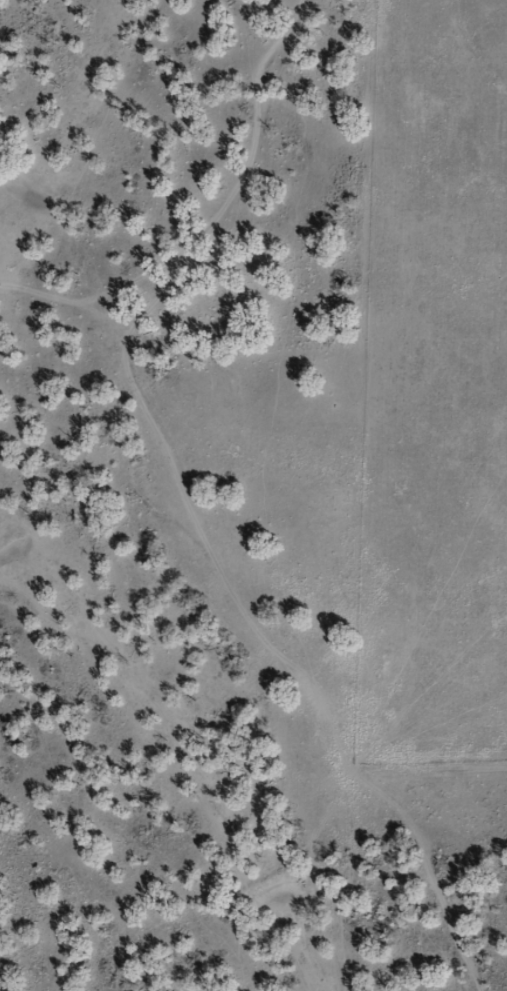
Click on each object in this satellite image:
road: (159, 514)

